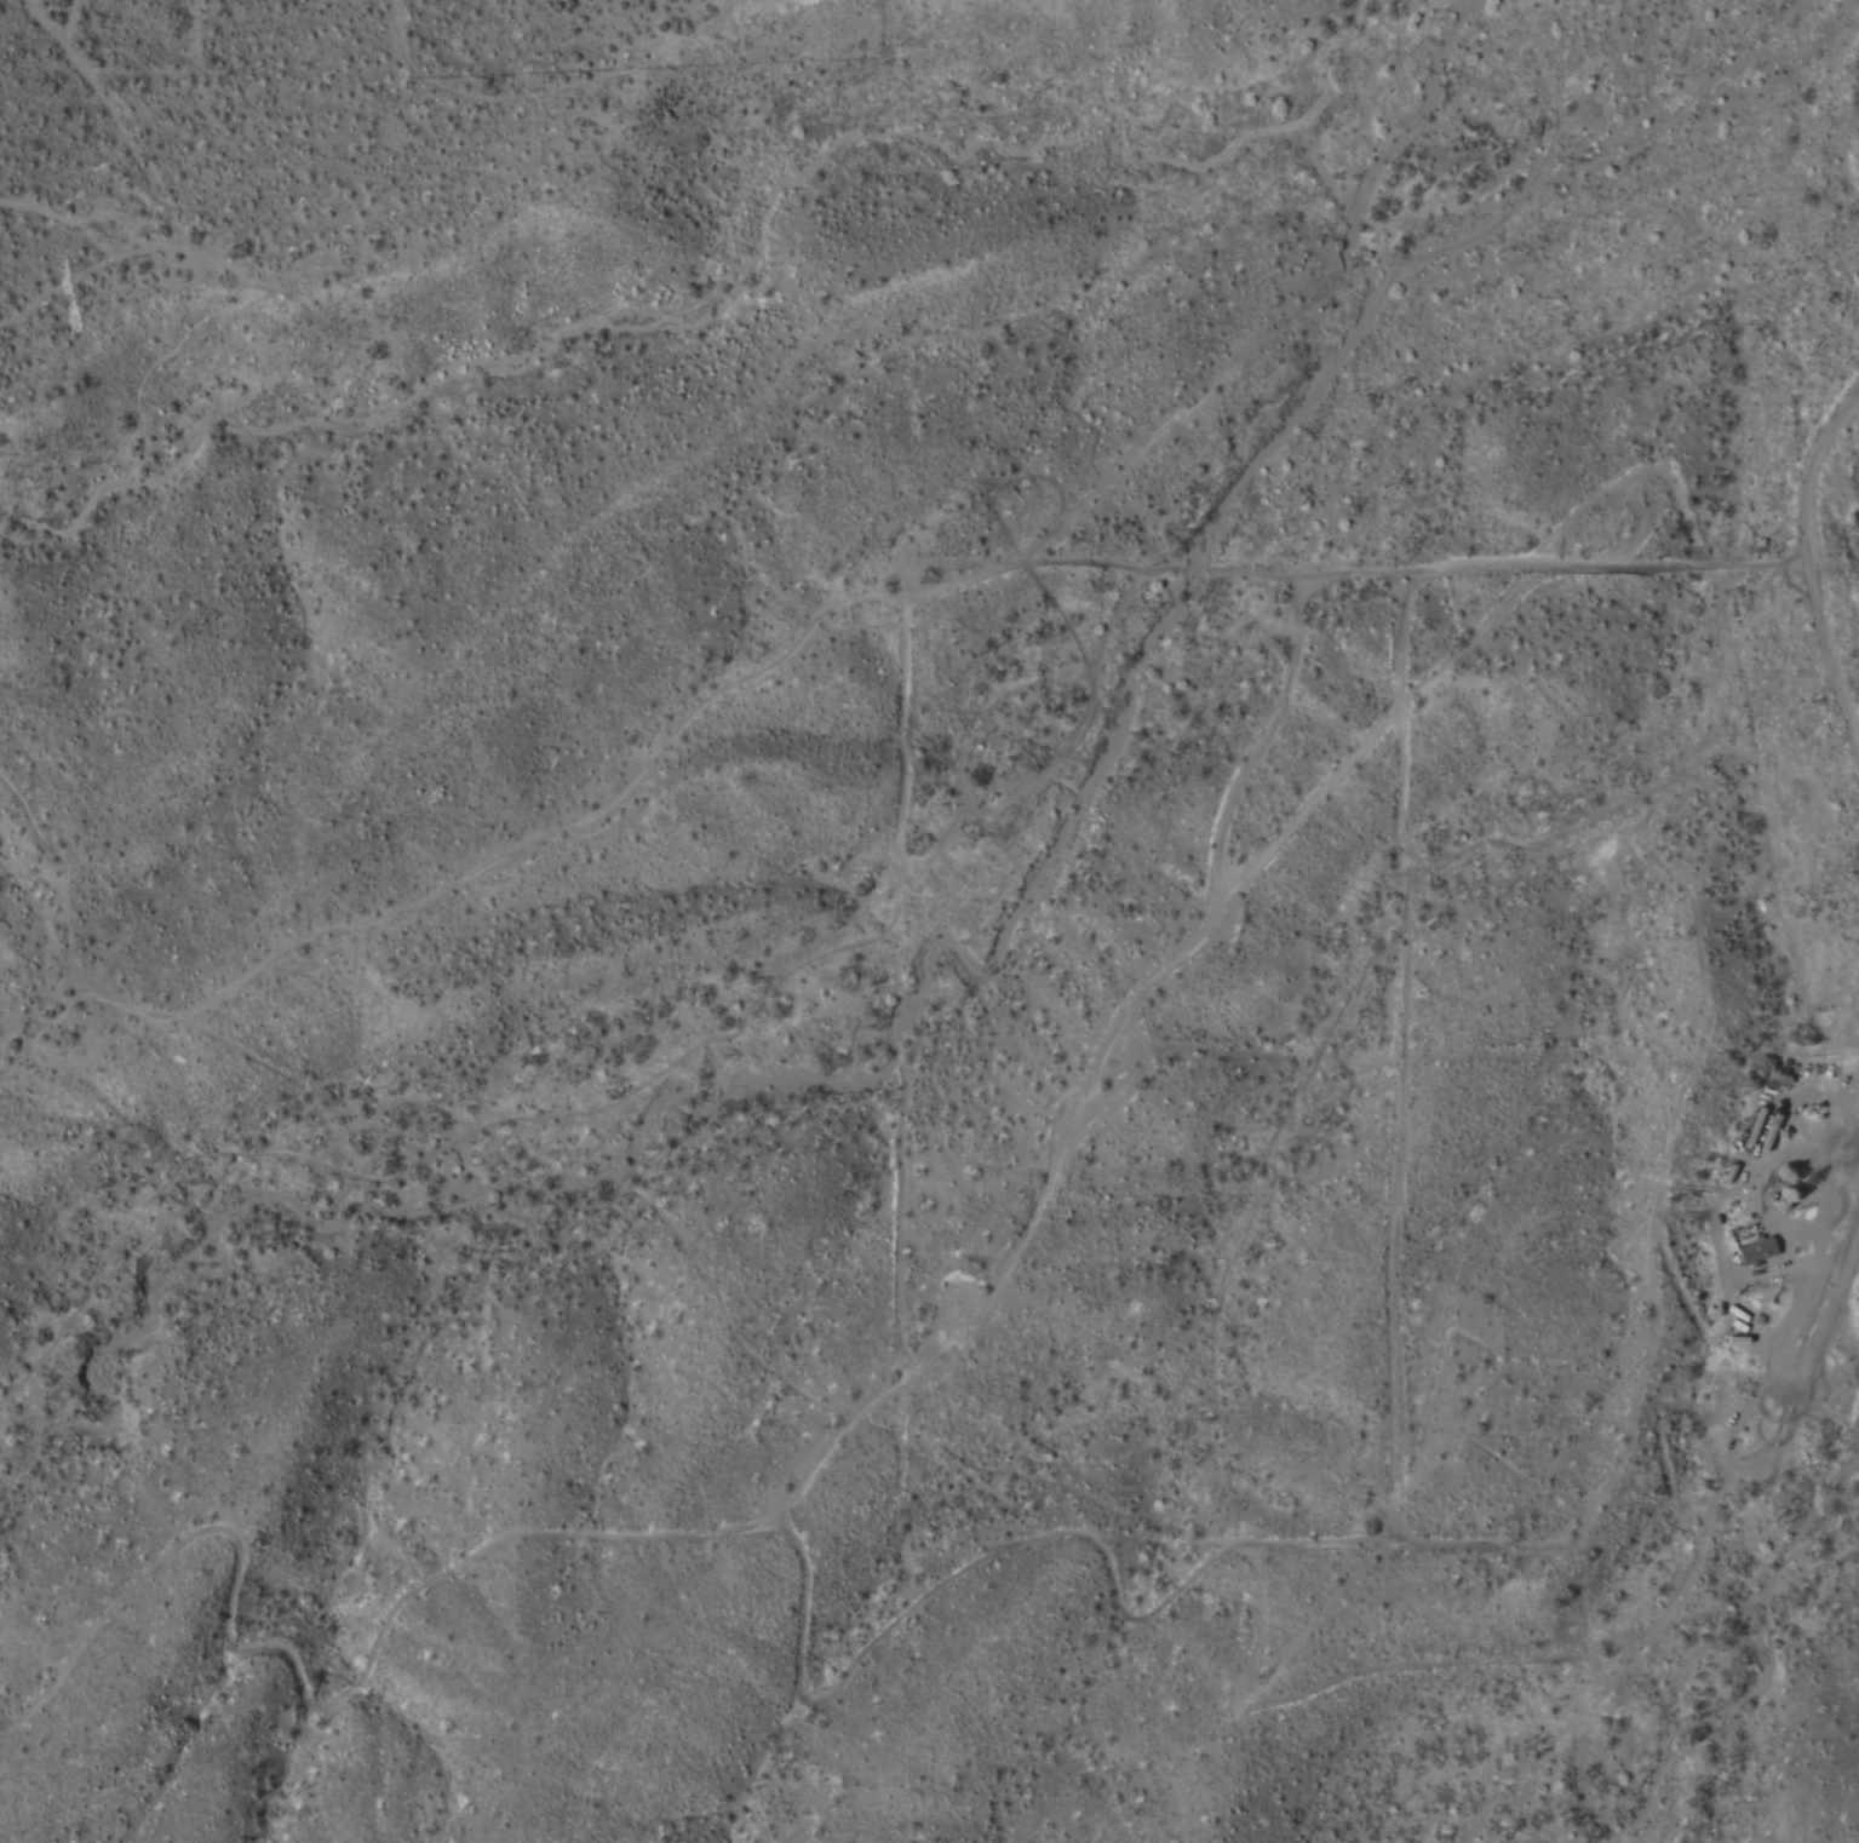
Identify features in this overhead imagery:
road: (1806, 572)
road: (1154, 977)
road: (1404, 1055)
road: (1797, 1328)
road: (1003, 1546)
road: (1503, 1660)

